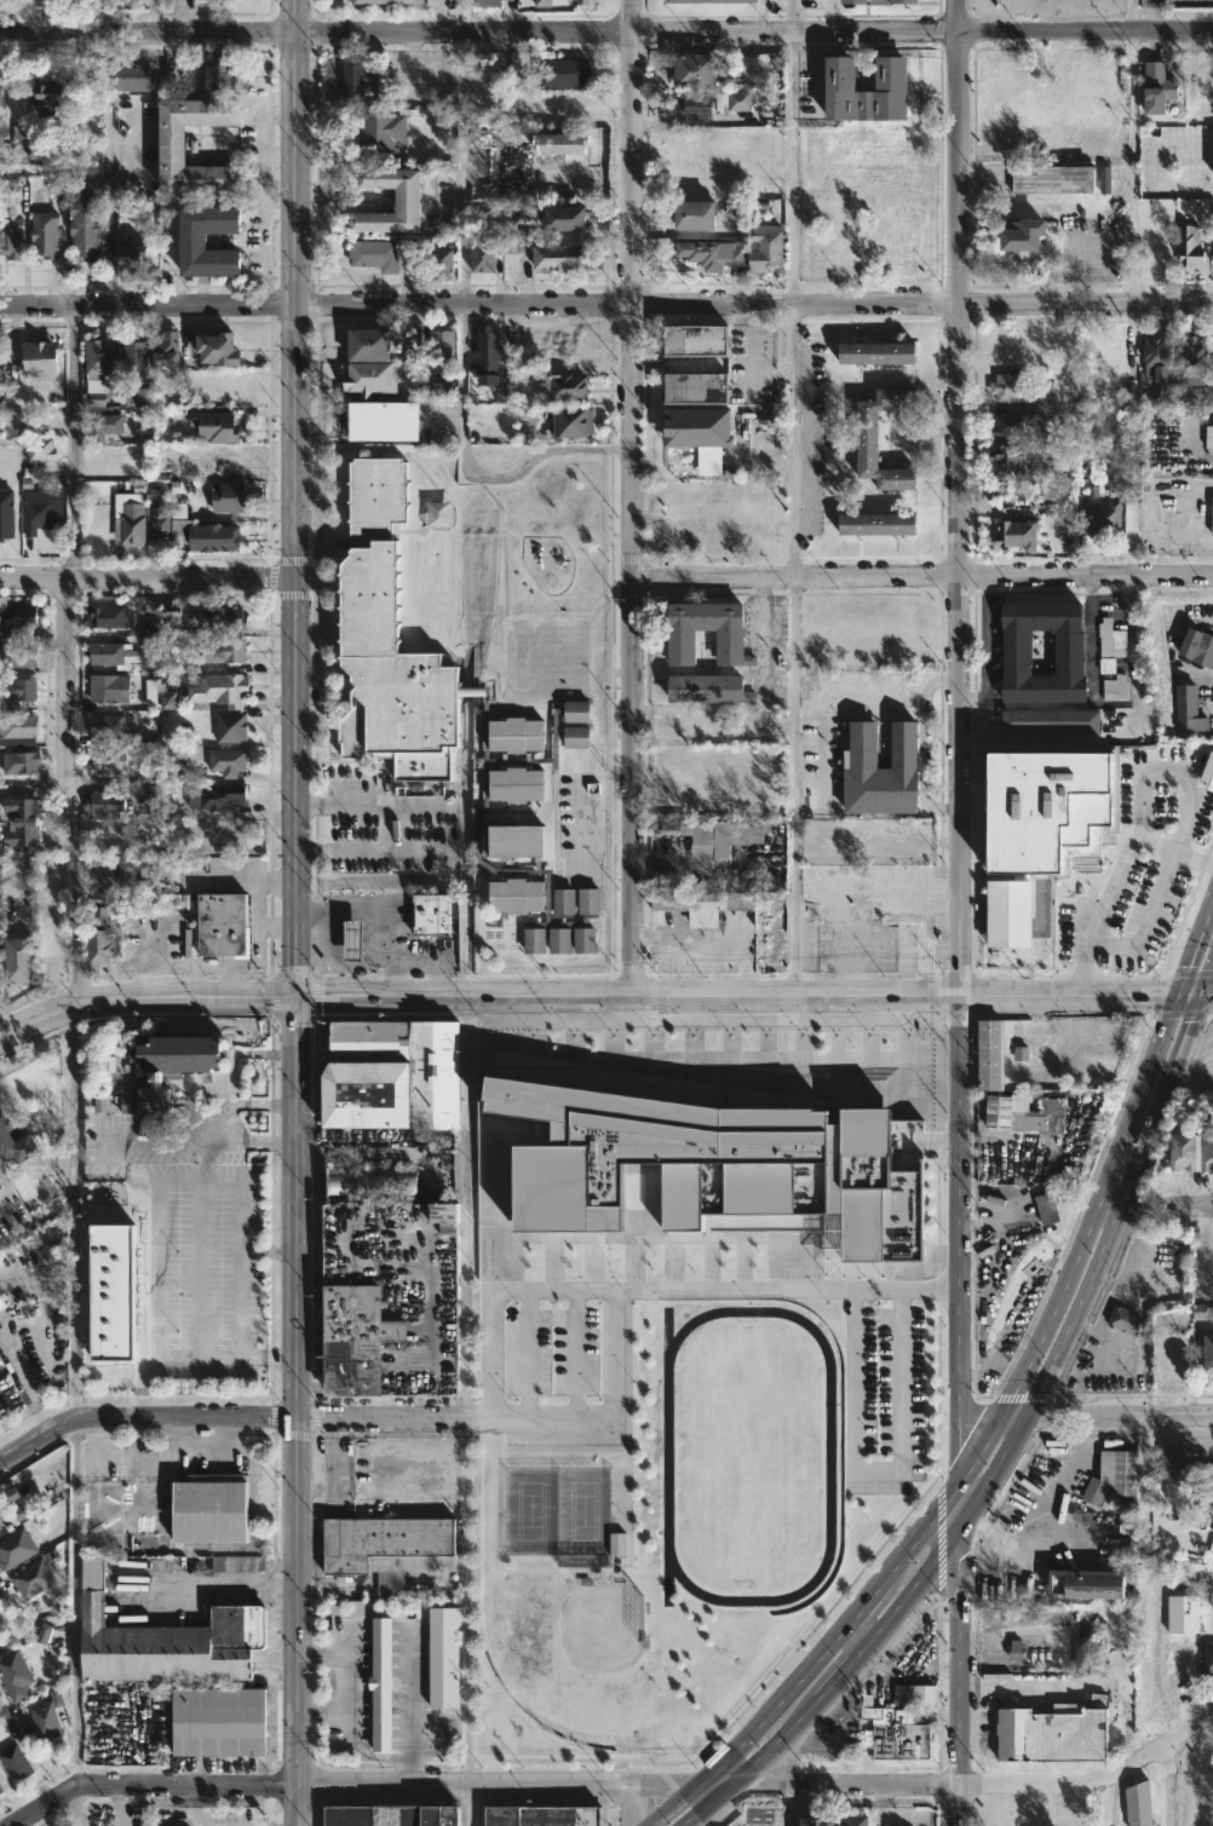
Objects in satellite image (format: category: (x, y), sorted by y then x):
building: (220, 0)
building: (389, 0)
building: (696, 0)
building: (853, 0)
building: (903, 0)
building: (582, 1)
building: (485, 2)
building: (544, 2)
park: (15, 10)
road: (15, 11)
road: (464, 15)
road: (41, 16)
road: (1131, 16)
road: (1151, 16)
road: (661, 30)
road: (75, 31)
road: (21, 33)
building: (694, 69)
building: (563, 70)
building: (890, 73)
building: (132, 76)
building: (224, 76)
building: (352, 80)
building: (1157, 86)
building: (1, 94)
building: (50, 100)
building: (735, 100)
building: (692, 104)
building: (381, 129)
building: (167, 139)
building: (21, 143)
building: (558, 143)
road: (793, 154)
building: (39, 155)
building: (512, 168)
road: (1133, 168)
road: (54, 169)
road: (110, 169)
road: (464, 171)
building: (1053, 179)
building: (1105, 179)
building: (11, 184)
building: (56, 184)
road: (1169, 188)
building: (406, 200)
building: (692, 214)
building: (563, 217)
building: (84, 227)
building: (45, 234)
building: (1021, 236)
building: (11, 237)
building: (194, 241)
building: (518, 247)
building: (765, 247)
building: (1191, 247)
building: (712, 252)
building: (374, 253)
building: (133, 255)
building: (482, 257)
building: (560, 257)
building: (439, 259)
road: (606, 311)
building: (694, 339)
building: (368, 344)
building: (1154, 347)
building: (165, 349)
building: (217, 349)
building: (441, 351)
building: (875, 352)
building: (488, 353)
building: (1194, 353)
building: (40, 358)
building: (132, 359)
building: (1, 365)
building: (100, 375)
building: (370, 378)
building: (695, 386)
building: (1008, 386)
building: (563, 387)
building: (441, 388)
building: (1167, 393)
building: (142, 396)
building: (380, 420)
building: (573, 421)
building: (23, 424)
building: (104, 425)
building: (1016, 425)
building: (218, 427)
building: (701, 434)
road: (1165, 436)
building: (1208, 436)
building: (833, 439)
building: (866, 439)
road: (795, 443)
building: (39, 449)
building: (1010, 457)
road: (478, 471)
building: (228, 497)
road: (633, 499)
road: (962, 499)
building: (7, 513)
building: (1212, 513)
building: (38, 514)
road: (1165, 515)
building: (1102, 517)
building: (159, 520)
building: (132, 523)
building: (875, 524)
building: (1018, 534)
building: (213, 537)
road: (1165, 555)
road: (922, 574)
road: (146, 577)
building: (108, 616)
building: (222, 617)
building: (17, 618)
building: (162, 621)
road: (1092, 638)
building: (679, 643)
building: (1197, 647)
road: (987, 649)
building: (225, 650)
building: (109, 653)
building: (1070, 653)
building: (19, 656)
building: (1113, 661)
road: (295, 679)
building: (22, 689)
building: (108, 689)
building: (220, 689)
building: (707, 689)
building: (160, 696)
road: (763, 707)
building: (1186, 708)
building: (443, 714)
building: (1051, 721)
building: (232, 726)
building: (18, 730)
building: (109, 731)
road: (1064, 739)
road: (922, 744)
building: (108, 760)
building: (228, 760)
building: (21, 761)
building: (881, 770)
building: (1208, 772)
road: (799, 787)
road: (36, 789)
building: (217, 795)
building: (104, 802)
road: (370, 805)
building: (1048, 811)
road: (1140, 813)
building: (21, 818)
building: (709, 835)
road: (1155, 843)
road: (368, 849)
building: (1, 856)
road: (74, 862)
building: (108, 874)
building: (150, 879)
building: (696, 898)
building: (435, 914)
road: (374, 916)
road: (1146, 917)
building: (224, 923)
building: (99, 928)
building: (1005, 933)
building: (353, 939)
road: (1196, 950)
road: (426, 957)
building: (17, 958)
road: (1208, 985)
road: (1105, 996)
traffic signals: (1180, 996)
road: (1192, 996)
traffic signals: (1205, 996)
road: (1208, 996)
road: (998, 997)
road: (552, 998)
traffic signals: (298, 1000)
road: (69, 1010)
building: (990, 1053)
building: (1022, 1053)
building: (166, 1073)
building: (393, 1075)
road: (237, 1102)
building: (999, 1110)
building: (1044, 1116)
building: (15, 1137)
road: (185, 1137)
building: (1184, 1150)
building: (1207, 1151)
road: (178, 1177)
building: (373, 1183)
building: (0, 1186)
building: (563, 1188)
road: (1109, 1205)
road: (465, 1206)
building: (1047, 1206)
road: (1202, 1210)
road: (39, 1220)
road: (962, 1237)
road: (240, 1238)
road: (1082, 1240)
parking lot: (182, 1242)
road: (271, 1251)
road: (1094, 1265)
building: (109, 1290)
road: (666, 1290)
building: (393, 1298)
building: (1, 1302)
building: (1203, 1312)
building: (1122, 1320)
road: (525, 1353)
road: (574, 1353)
road: (613, 1353)
building: (1208, 1355)
road: (195, 1356)
road: (301, 1387)
road: (1012, 1413)
road: (1117, 1413)
road: (456, 1416)
road: (144, 1417)
park: (749, 1447)
building: (1172, 1464)
road: (876, 1469)
building: (1113, 1474)
road: (962, 1499)
building: (208, 1508)
building: (0, 1526)
road: (920, 1536)
building: (386, 1542)
building: (617, 1543)
building: (16, 1546)
building: (237, 1562)
building: (31, 1577)
road: (255, 1582)
road: (186, 1583)
building: (1086, 1583)
road: (298, 1599)
road: (467, 1599)
road: (74, 1600)
road: (863, 1608)
building: (1183, 1613)
road: (860, 1629)
building: (159, 1630)
building: (44, 1632)
park: (569, 1653)
road: (955, 1653)
building: (1082, 1653)
building: (443, 1655)
building: (1208, 1659)
building: (13, 1670)
road: (826, 1682)
building: (380, 1686)
building: (0, 1690)
building: (915, 1694)
building: (0, 1695)
building: (47, 1716)
building: (217, 1723)
building: (12, 1728)
road: (755, 1730)
building: (897, 1730)
building: (1048, 1732)
building: (15, 1761)
road: (718, 1779)
road: (350, 1782)
road: (1168, 1782)
road: (981, 1785)
building: (1, 1788)
building: (1136, 1802)
road: (631, 1803)
road: (789, 1803)
road: (295, 1804)
road: (466, 1804)
road: (116, 1805)
road: (950, 1805)
road: (75, 1807)
building: (384, 1815)
building: (541, 1815)
road: (885, 1816)
building: (814, 1820)
building: (852, 1820)

